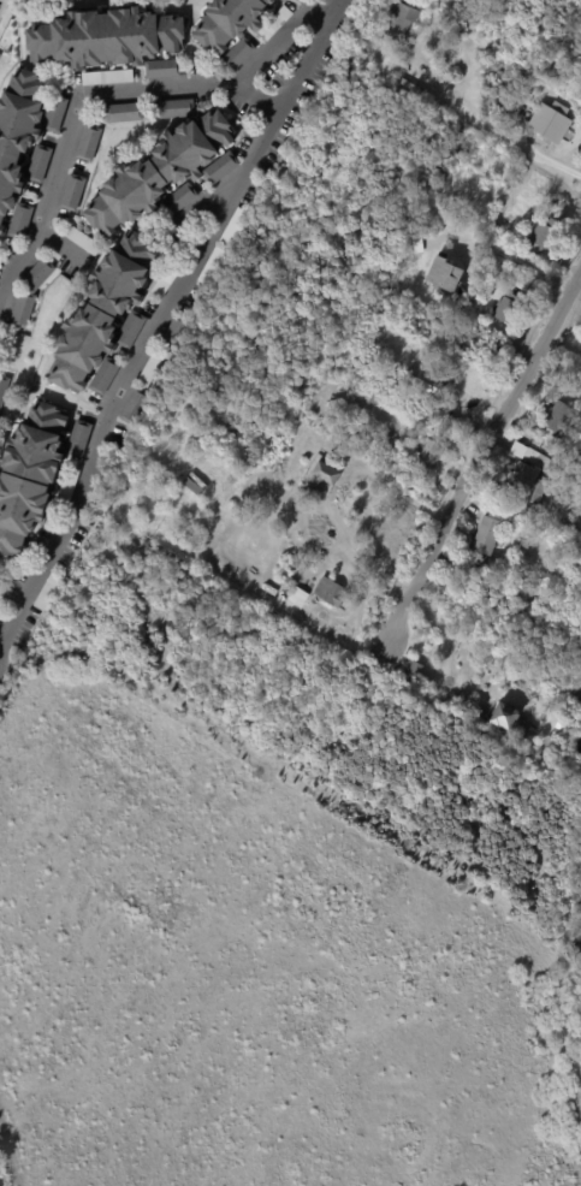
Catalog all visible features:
building: (285, 1)
building: (326, 1)
building: (402, 22)
building: (277, 23)
building: (233, 29)
building: (112, 41)
building: (109, 78)
building: (415, 88)
road: (101, 94)
road: (259, 97)
building: (178, 109)
building: (126, 113)
building: (553, 123)
road: (498, 135)
building: (24, 143)
building: (90, 143)
building: (516, 160)
building: (41, 164)
building: (166, 174)
building: (75, 194)
road: (195, 214)
building: (237, 227)
building: (543, 236)
building: (84, 241)
building: (417, 245)
building: (215, 267)
building: (38, 275)
building: (447, 275)
building: (168, 280)
building: (523, 285)
building: (475, 301)
building: (23, 310)
building: (508, 310)
building: (106, 319)
road: (156, 322)
building: (177, 336)
building: (478, 342)
building: (153, 369)
building: (431, 384)
building: (4, 389)
building: (136, 407)
building: (558, 422)
building: (81, 439)
building: (192, 447)
building: (433, 453)
building: (165, 458)
building: (152, 472)
building: (130, 479)
building: (324, 480)
building: (534, 480)
building: (31, 481)
road: (481, 481)
building: (197, 486)
building: (70, 487)
building: (140, 492)
building: (178, 493)
building: (303, 509)
building: (173, 521)
building: (571, 528)
building: (490, 534)
building: (482, 559)
building: (290, 577)
building: (265, 587)
building: (526, 591)
building: (48, 592)
building: (332, 593)
building: (1, 616)
road: (443, 634)
building: (416, 671)
building: (512, 727)
building: (558, 735)
building: (576, 752)
building: (579, 763)

